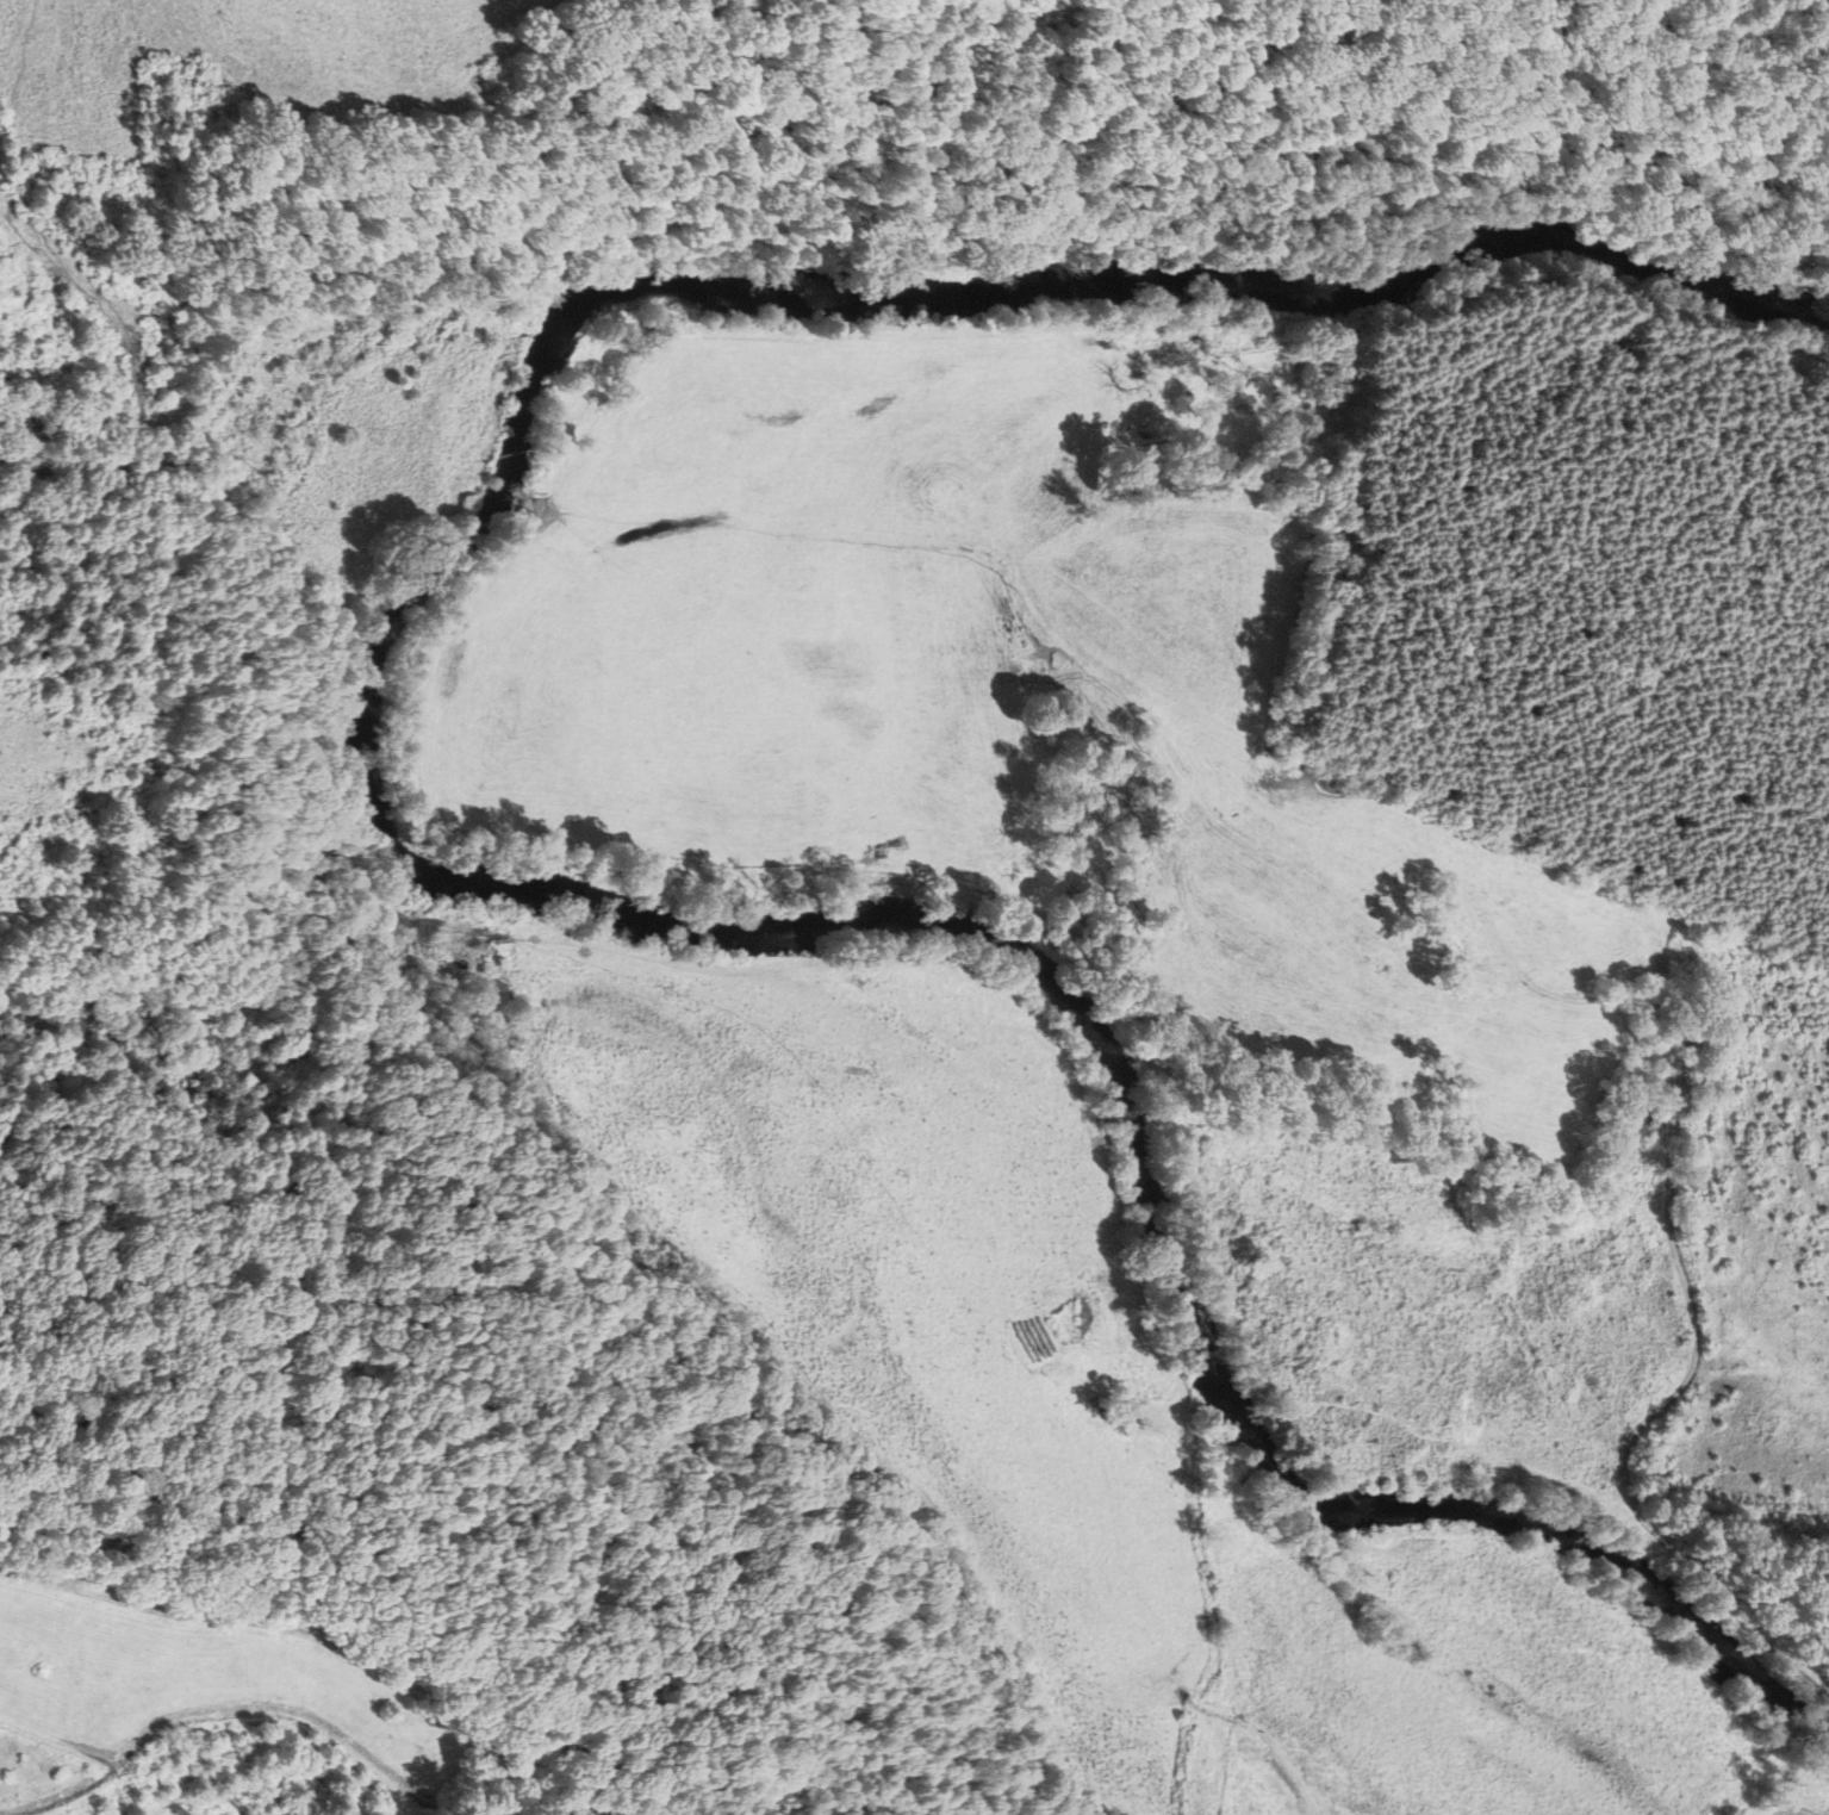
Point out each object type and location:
river: (384, 840)
building: (1647, 1126)
building: (1078, 1326)
road: (318, 1640)
park: (236, 1711)
road: (284, 1715)
road: (57, 1740)
road: (199, 1795)
road: (70, 1798)

